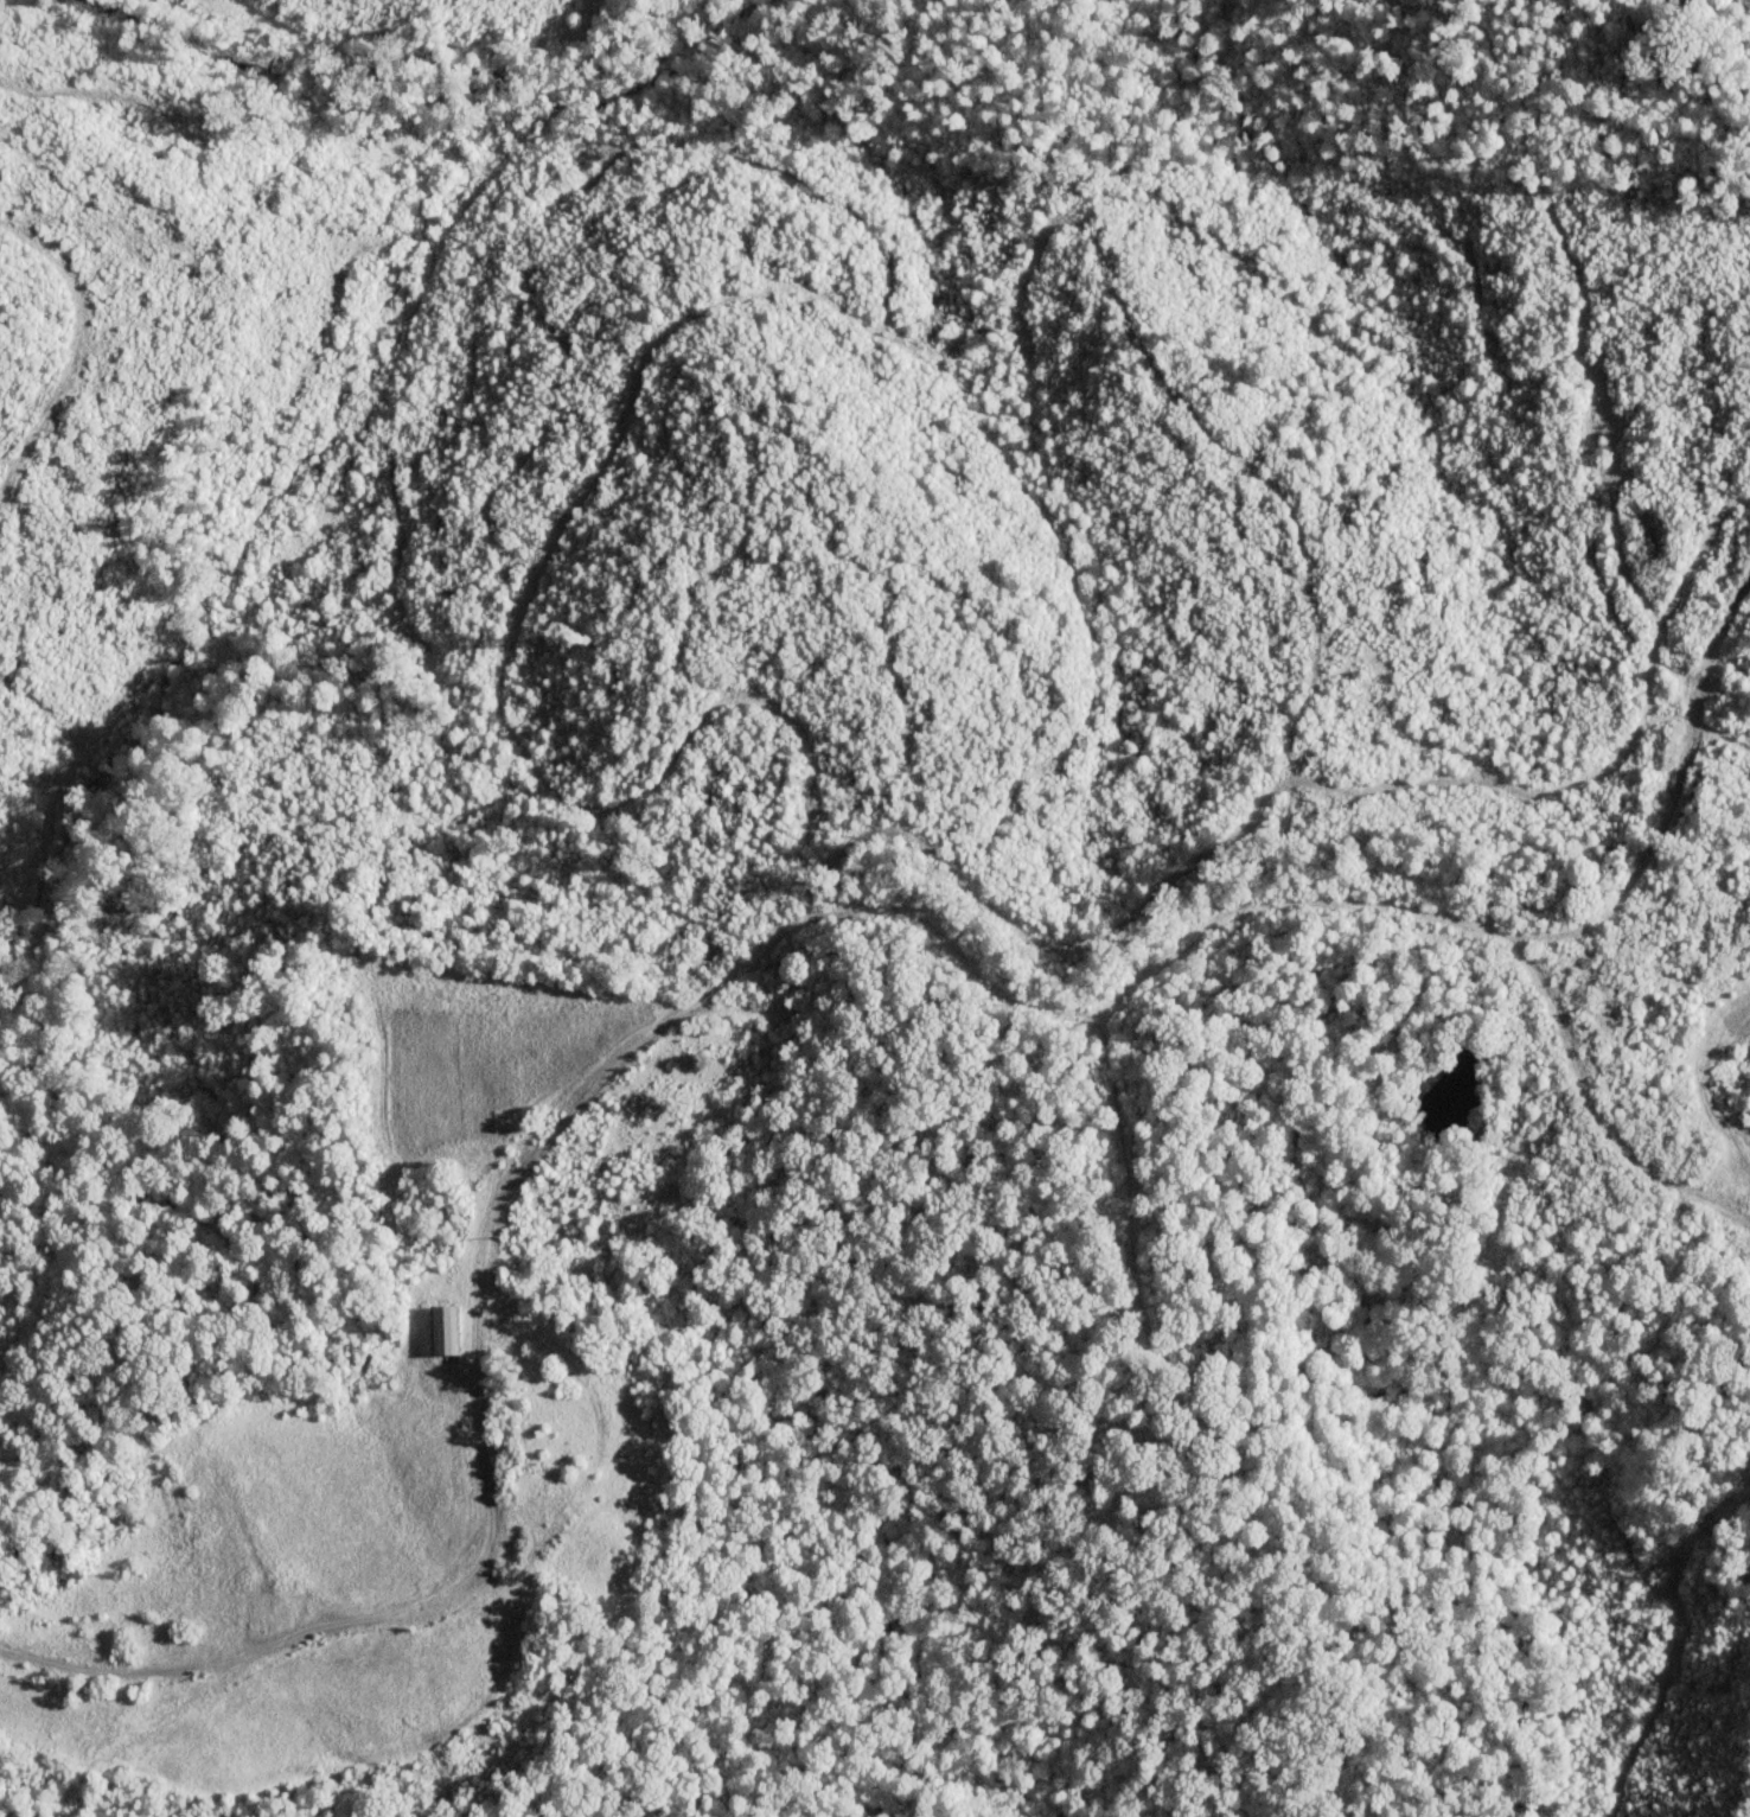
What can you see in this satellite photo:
building: (441, 1328)

